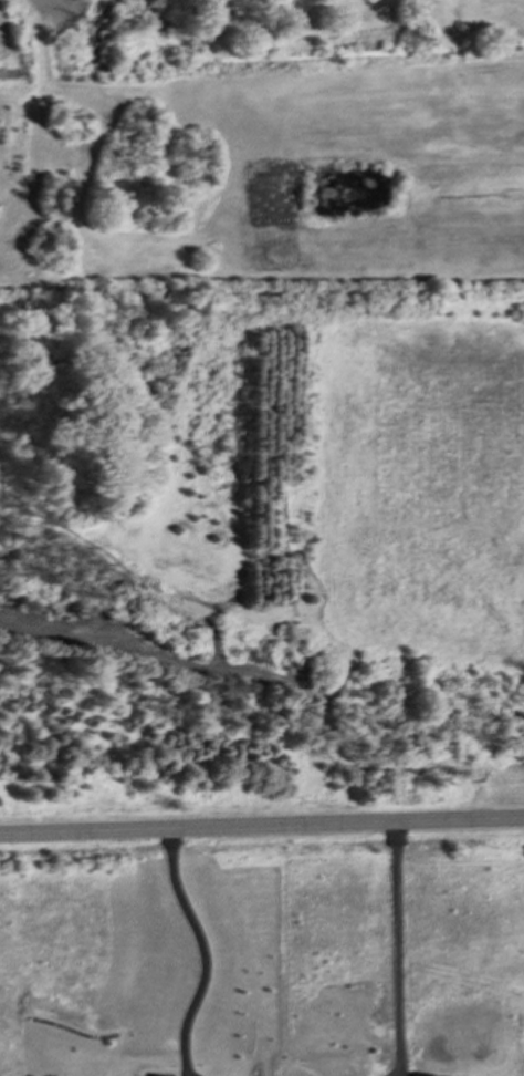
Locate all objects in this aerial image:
road: (261, 824)
road: (405, 921)
road: (207, 940)

